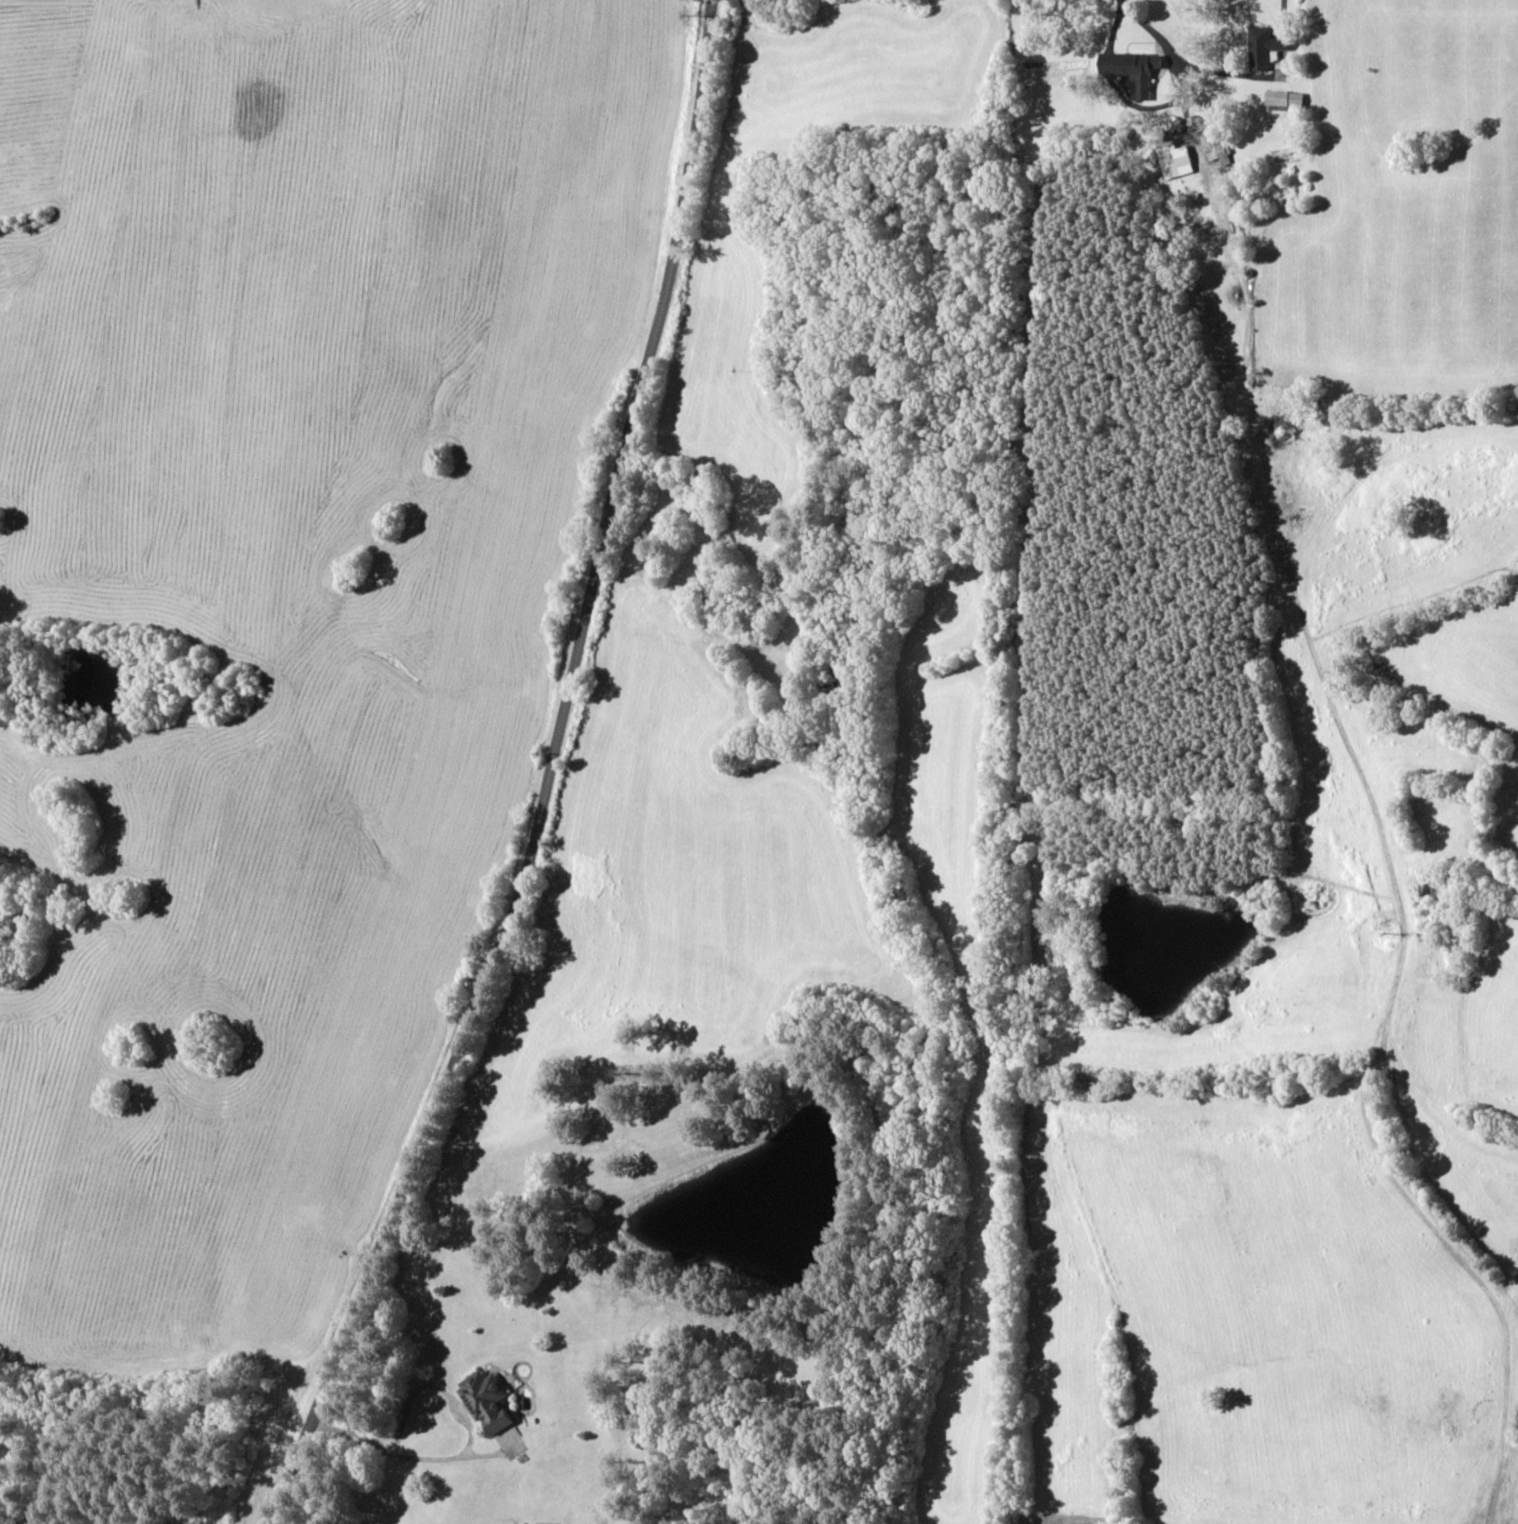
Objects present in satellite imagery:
building: (1264, 47)
building: (1133, 69)
building: (1285, 100)
building: (1175, 125)
building: (1221, 152)
building: (1175, 157)
road: (1349, 679)
road: (548, 781)
building: (493, 1411)

